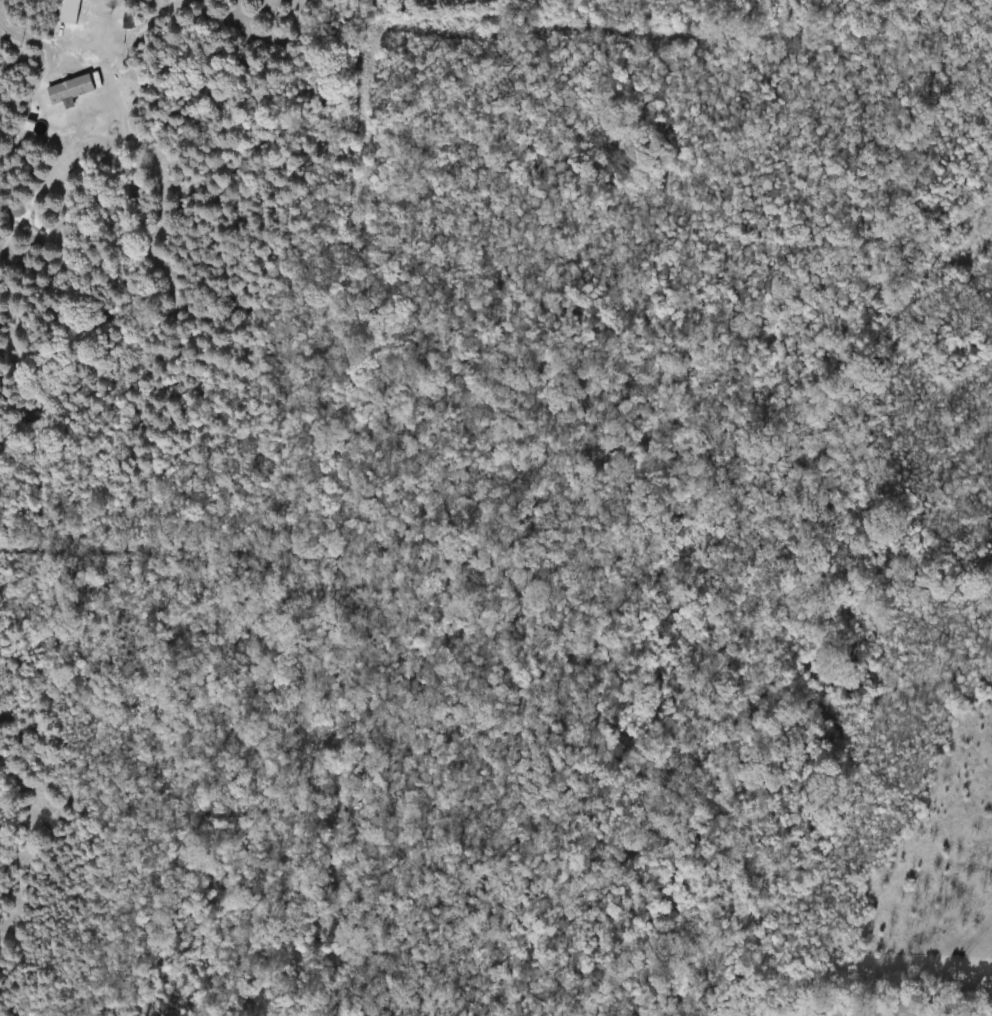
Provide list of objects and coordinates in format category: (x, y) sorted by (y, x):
road: (28, 38)

